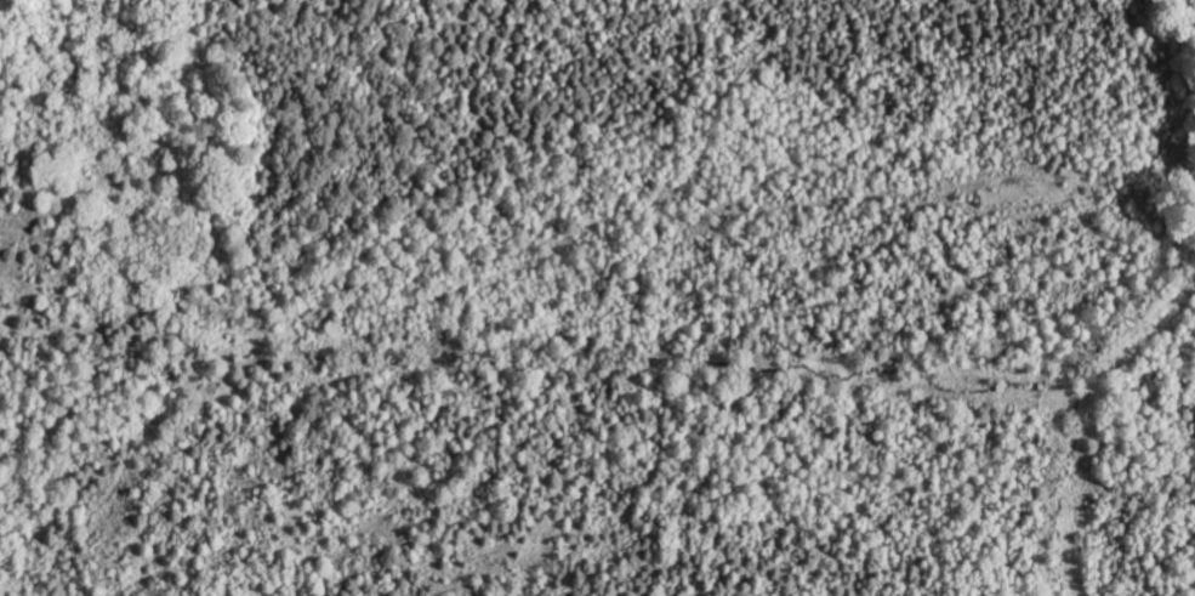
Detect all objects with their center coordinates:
road: (214, 299)

